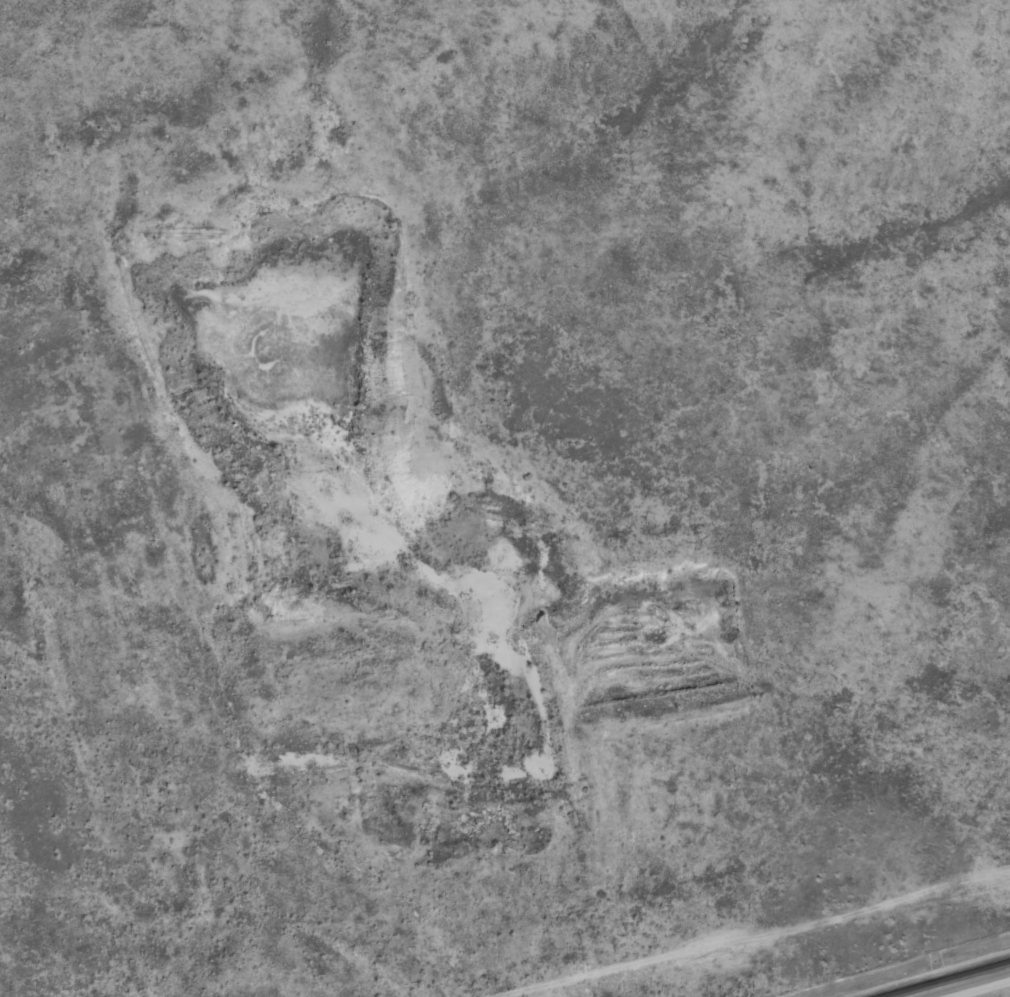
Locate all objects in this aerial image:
road: (960, 983)

